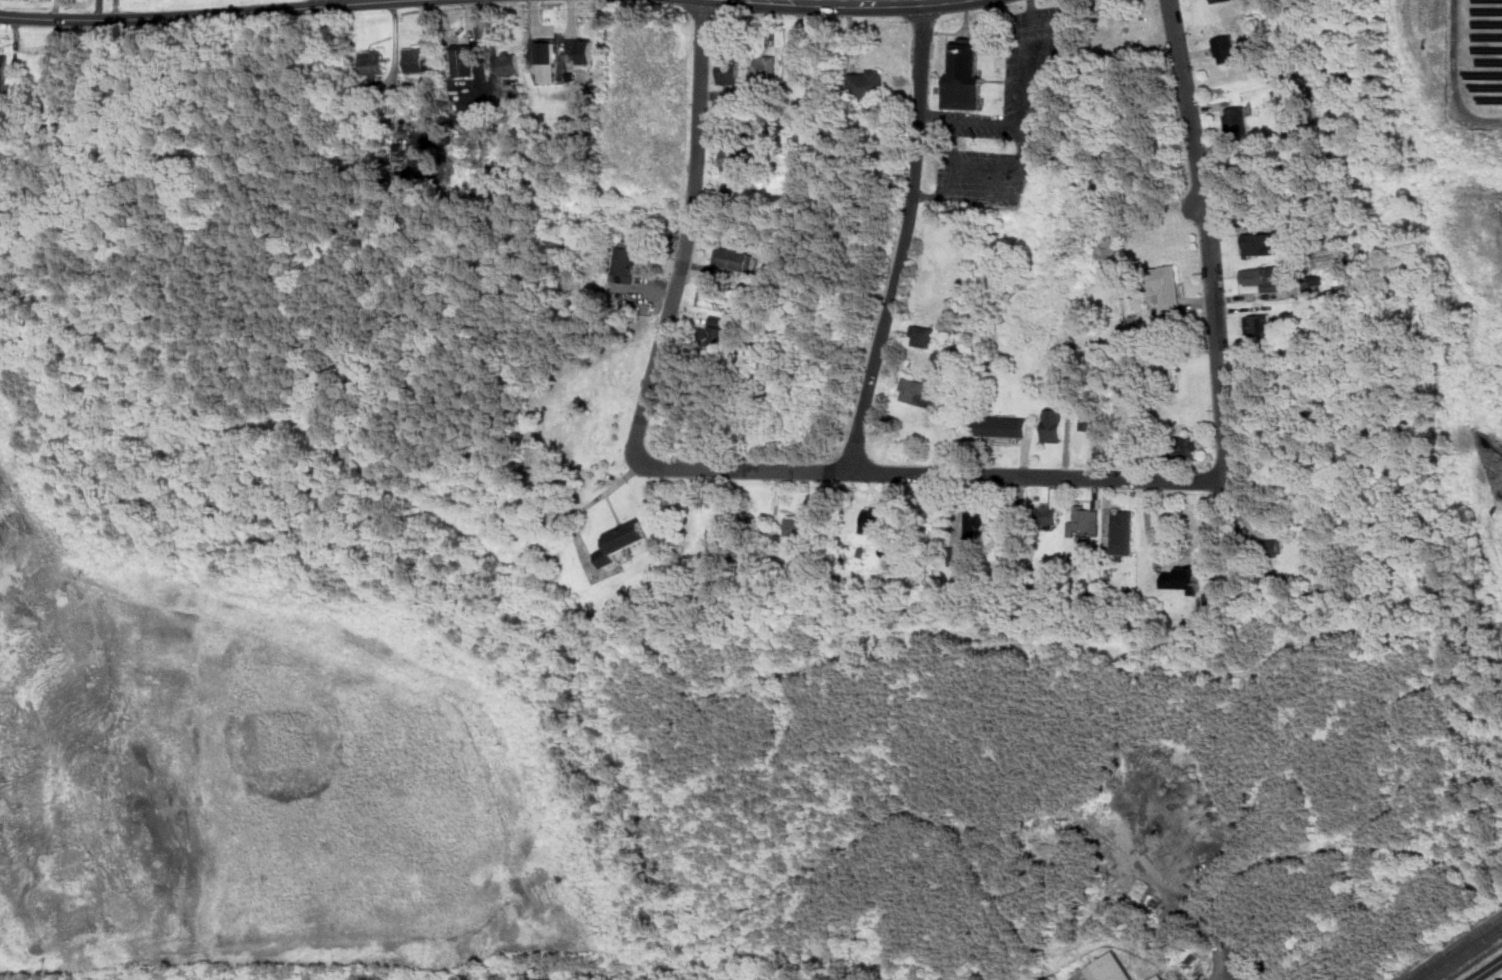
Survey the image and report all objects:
road: (926, 0)
road: (811, 1)
building: (1216, 1)
road: (335, 2)
road: (882, 2)
road: (207, 15)
building: (1226, 48)
building: (585, 50)
building: (546, 51)
building: (416, 58)
building: (465, 59)
building: (373, 63)
building: (510, 63)
solar farm: (1475, 63)
building: (764, 68)
building: (729, 71)
building: (3, 72)
road: (1039, 72)
building: (965, 74)
building: (867, 83)
road: (1020, 112)
building: (1237, 120)
building: (399, 151)
building: (733, 157)
road: (984, 165)
road: (930, 194)
road: (981, 195)
road: (1196, 208)
road: (1212, 237)
road: (687, 238)
road: (905, 241)
building: (1260, 243)
building: (734, 260)
building: (627, 264)
building: (1263, 278)
building: (1168, 289)
building: (1259, 324)
building: (925, 336)
building: (717, 338)
building: (917, 392)
building: (1092, 421)
building: (1054, 424)
building: (1003, 426)
building: (1187, 447)
road: (940, 478)
building: (1047, 516)
road: (1231, 517)
building: (876, 520)
building: (975, 520)
building: (1084, 522)
building: (798, 524)
building: (1124, 532)
building: (621, 540)
building: (957, 556)
building: (1182, 578)
railway: (1454, 947)
railway: (1462, 954)
building: (1106, 970)
road: (1490, 971)
building: (1159, 978)

